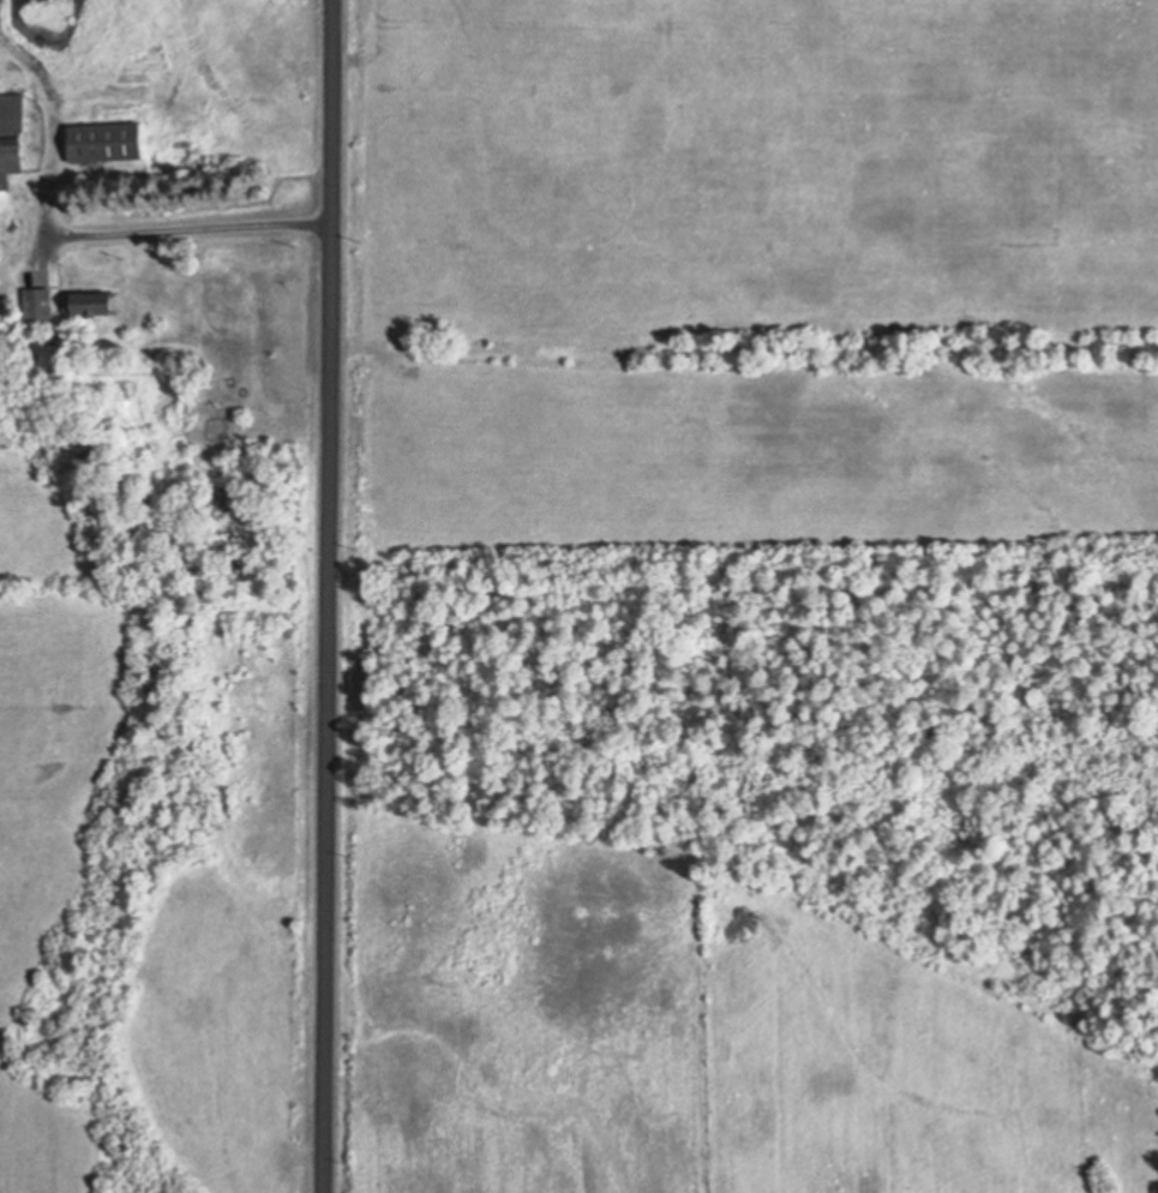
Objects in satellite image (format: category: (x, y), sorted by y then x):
building: (12, 137)
building: (106, 143)
road: (190, 233)
building: (94, 304)
building: (41, 305)
road: (328, 596)

